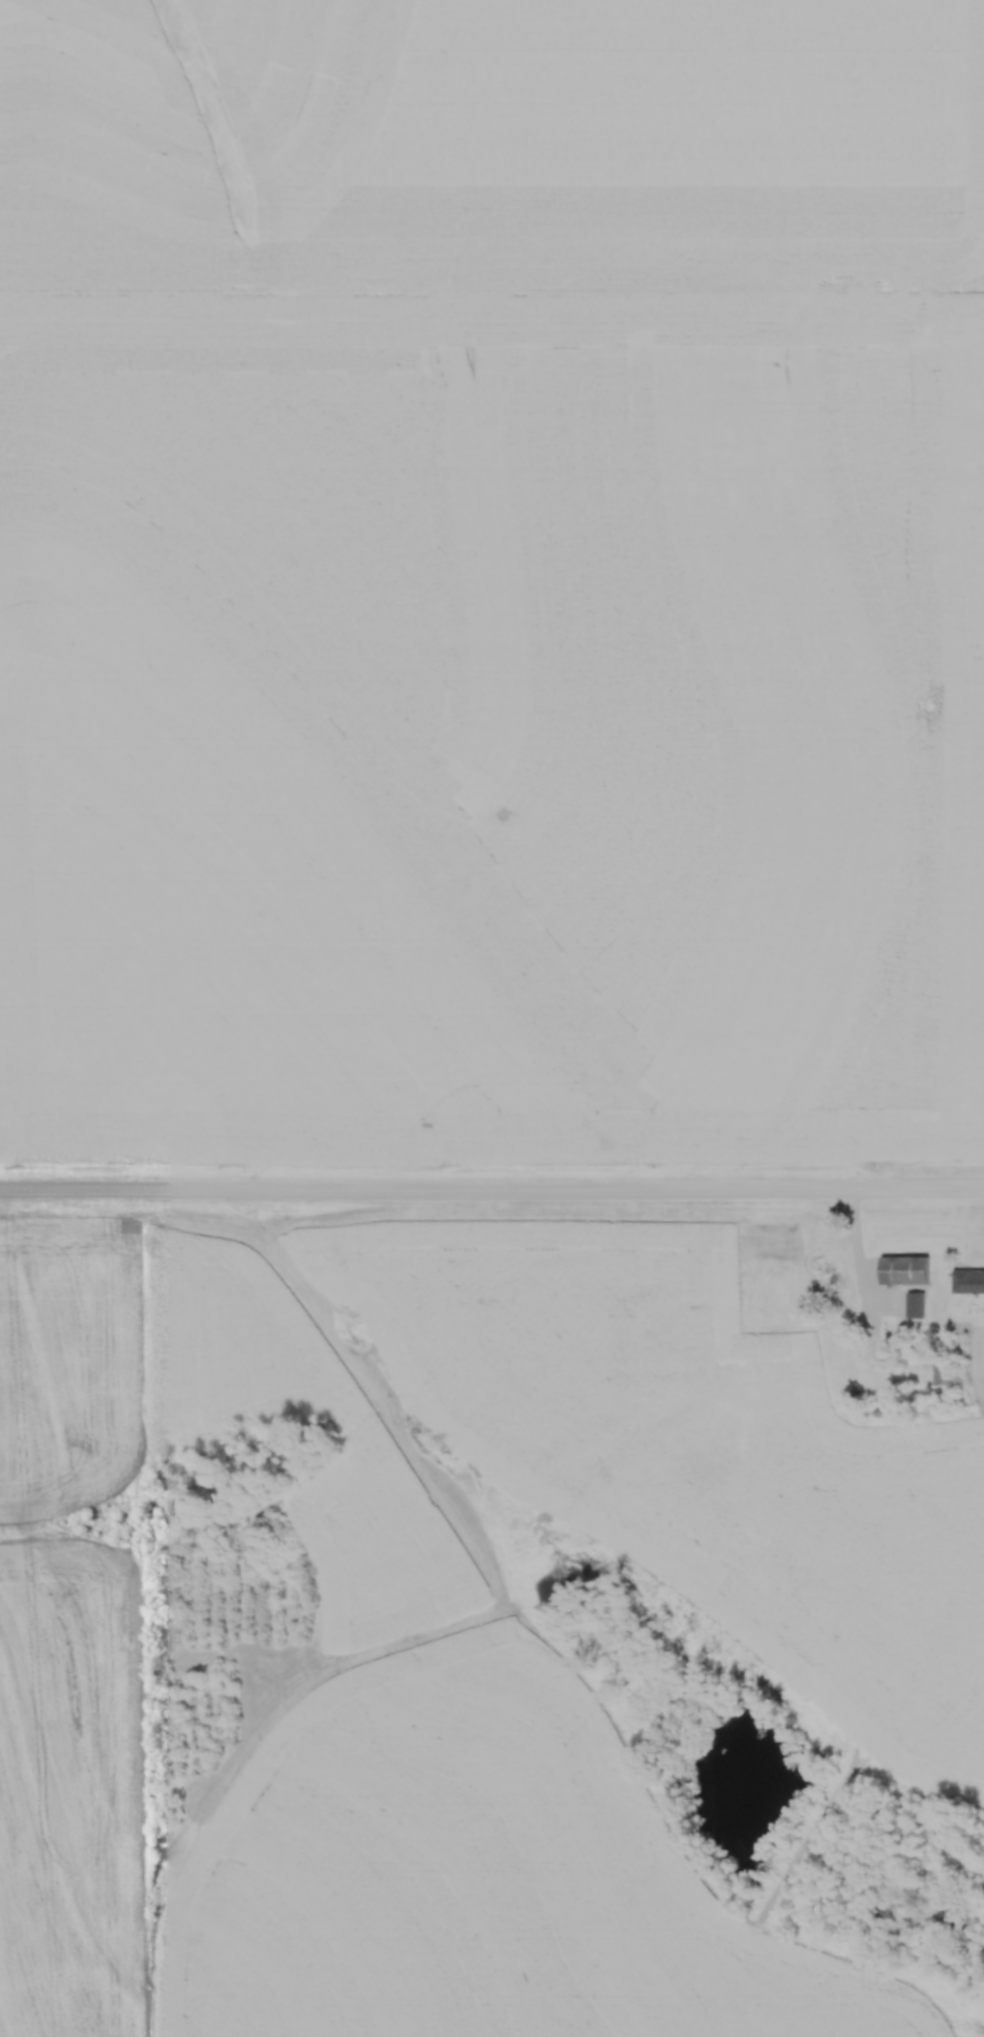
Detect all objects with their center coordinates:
road: (491, 1192)
building: (815, 1243)
road: (855, 1266)
building: (902, 1270)
building: (967, 1281)
building: (696, 1303)
building: (913, 1304)
building: (941, 1381)

